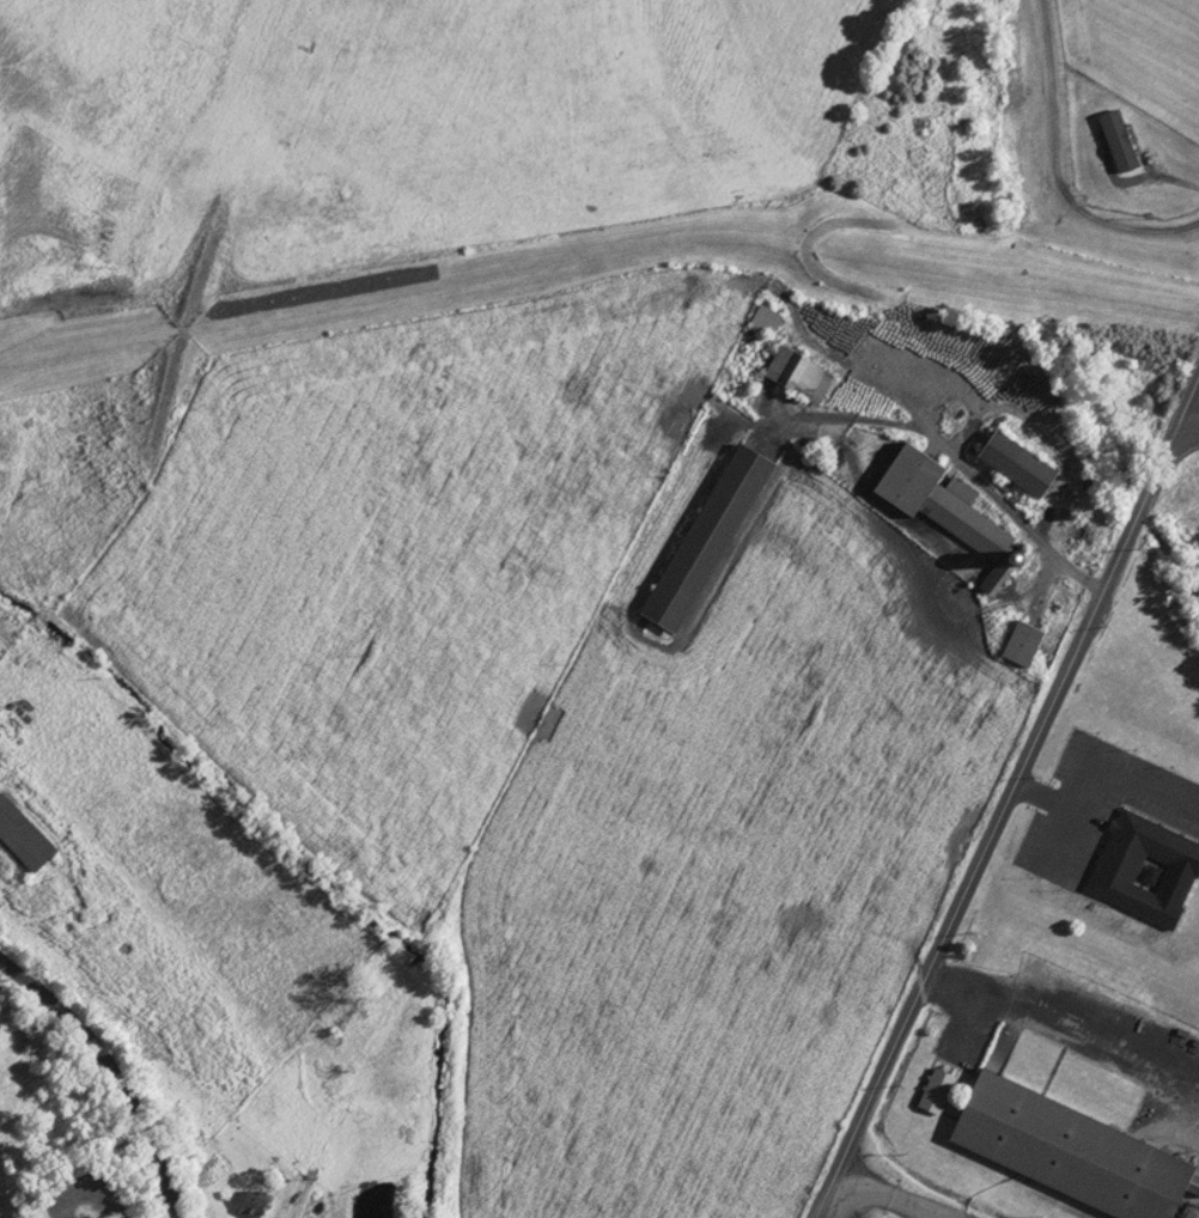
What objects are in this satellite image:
airport: (1132, 102)
building: (1118, 141)
building: (765, 321)
building: (797, 376)
road: (1189, 413)
building: (1015, 464)
building: (938, 501)
building: (706, 538)
building: (1021, 644)
road: (1008, 793)
building: (22, 839)
building: (1116, 866)
road: (118, 1074)
building: (935, 1091)
building: (1069, 1152)
road: (880, 1198)
building: (255, 1199)

